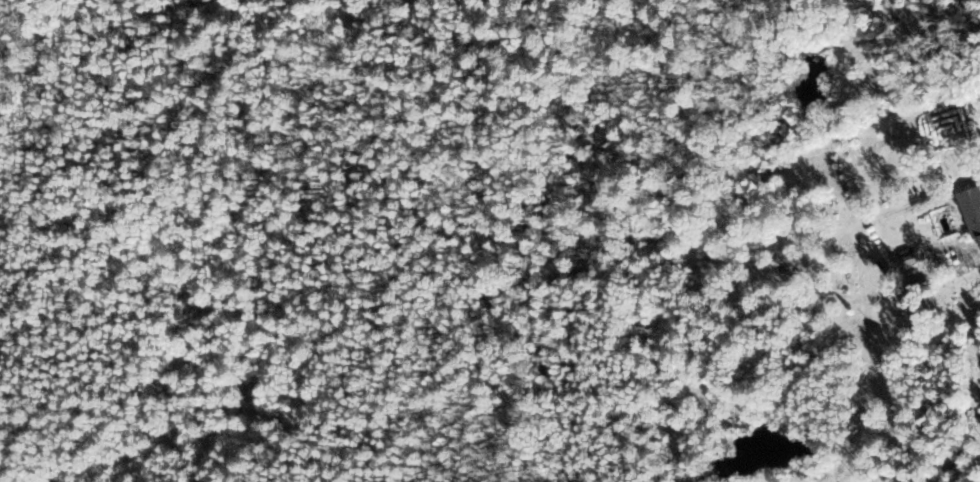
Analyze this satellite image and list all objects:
building: (972, 210)
road: (87, 250)
road: (201, 389)
building: (252, 390)

